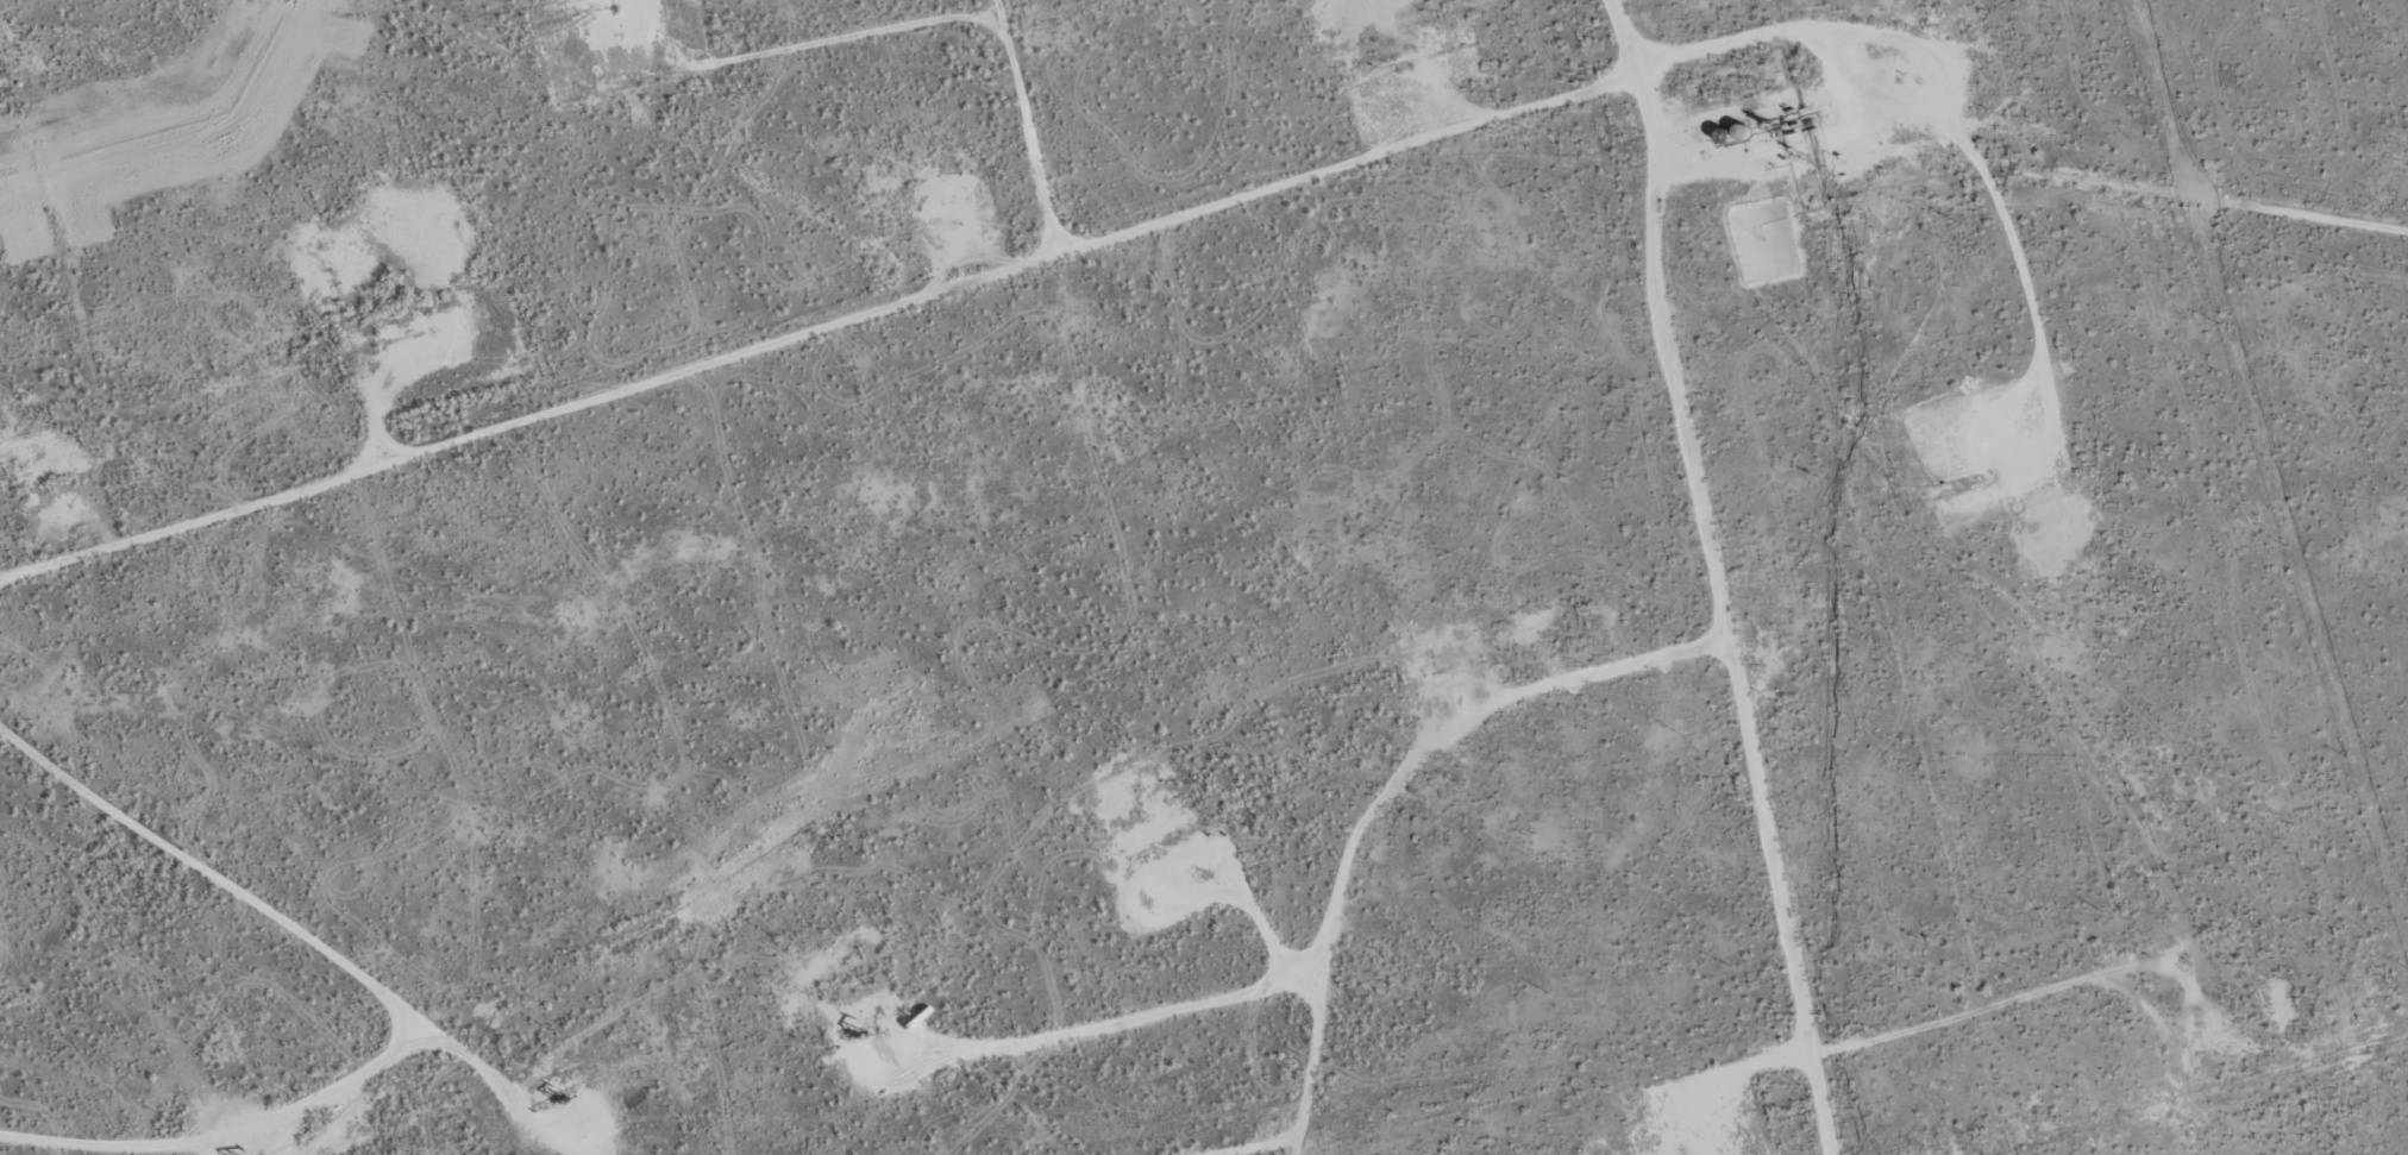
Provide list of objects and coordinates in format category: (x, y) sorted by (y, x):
road: (313, 906)

